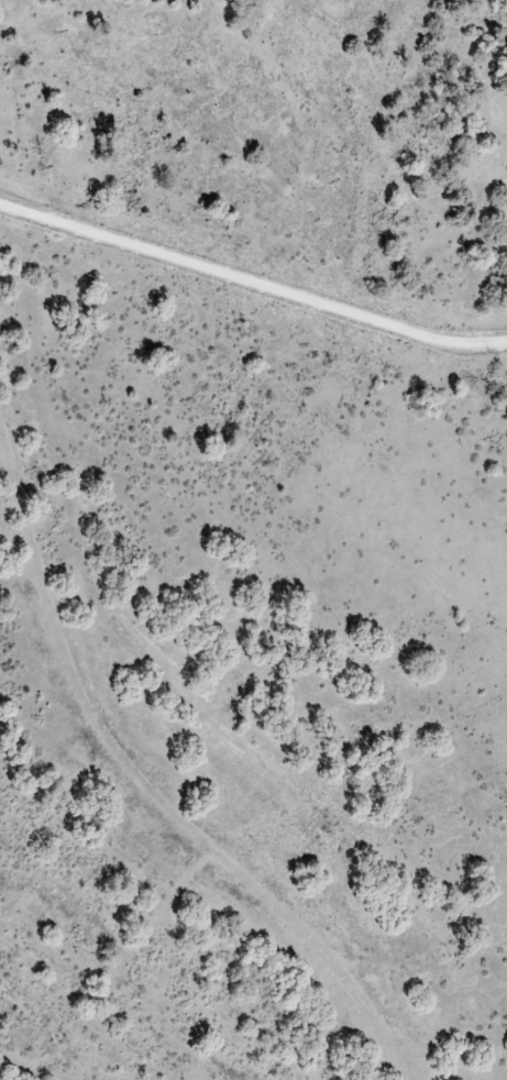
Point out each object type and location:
road: (254, 258)

